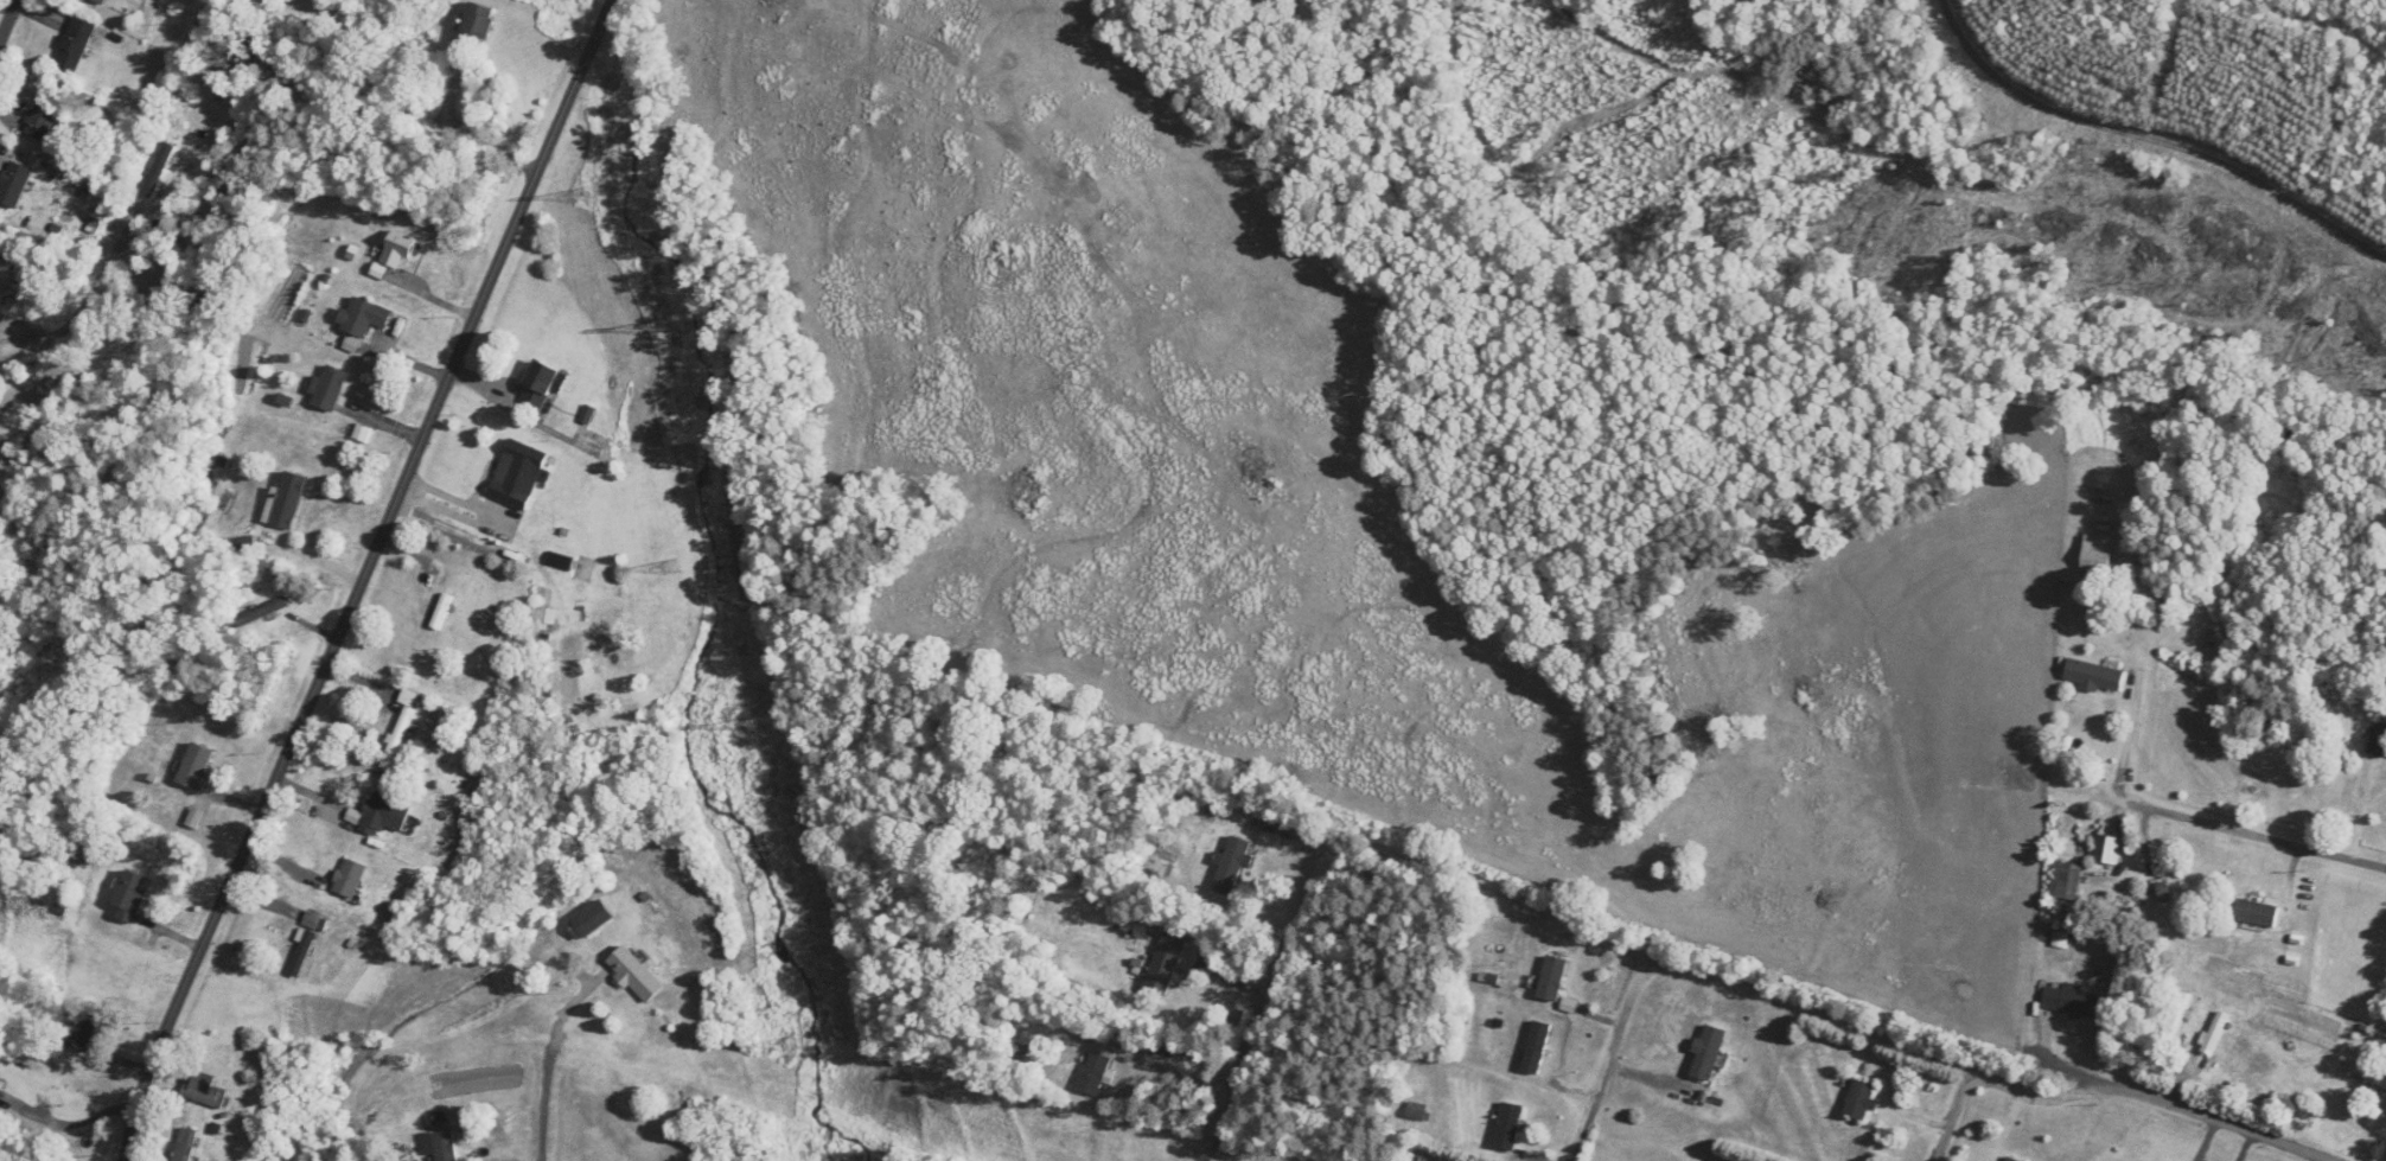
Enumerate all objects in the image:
building: (102, 1)
road: (619, 5)
road: (9, 21)
building: (476, 28)
building: (76, 44)
building: (42, 119)
road: (2137, 153)
building: (14, 184)
power tower: (580, 194)
building: (69, 215)
building: (398, 250)
road: (83, 301)
building: (364, 318)
building: (543, 384)
building: (330, 388)
building: (589, 415)
building: (519, 474)
building: (20, 500)
building: (286, 502)
building: (2098, 554)
power tower: (672, 563)
building: (589, 570)
road: (362, 581)
building: (269, 611)
building: (442, 612)
building: (2095, 675)
building: (404, 720)
road: (2129, 736)
building: (2378, 742)
building: (196, 766)
building: (384, 814)
road: (2239, 829)
building: (2107, 849)
building: (1232, 867)
building: (350, 879)
building: (2066, 880)
building: (130, 894)
building: (2171, 894)
building: (2257, 912)
building: (398, 917)
building: (589, 920)
building: (305, 945)
building: (1166, 964)
building: (634, 976)
building: (1552, 978)
road: (1817, 981)
building: (2071, 1003)
building: (2178, 1016)
building: (82, 1032)
building: (2216, 1033)
power tower: (791, 1042)
road: (1623, 1045)
building: (1536, 1047)
building: (1709, 1053)
building: (0, 1064)
building: (1095, 1073)
building: (2367, 1076)
building: (205, 1090)
building: (1861, 1101)
road: (1965, 1101)
road: (549, 1109)
building: (1416, 1111)
road: (68, 1123)
building: (1508, 1127)
building: (186, 1144)
building: (445, 1147)
building: (2010, 1159)

